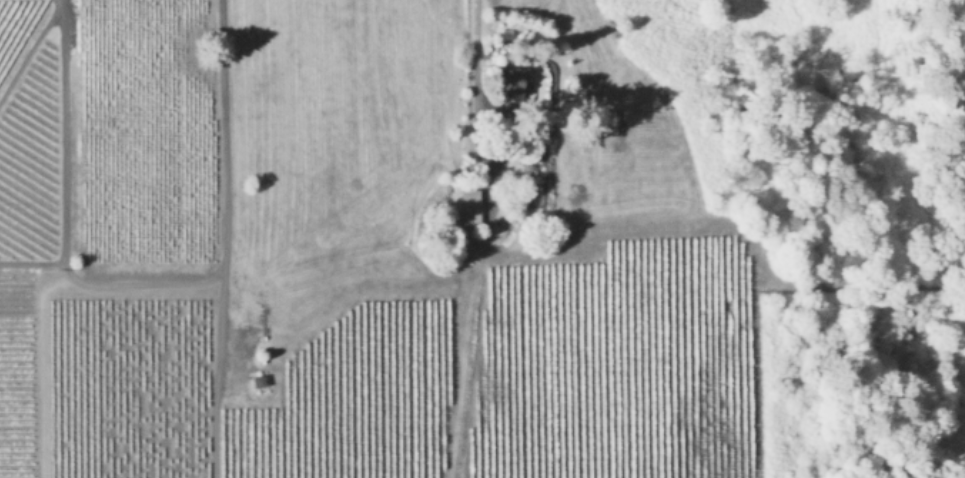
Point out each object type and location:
road: (474, 71)
building: (514, 84)
road: (225, 119)
building: (471, 206)
road: (218, 357)

